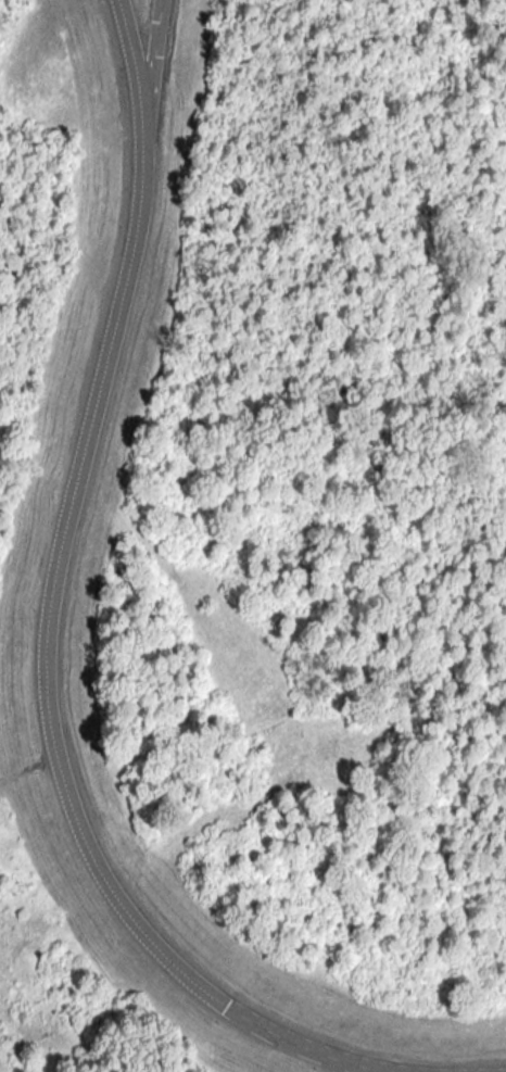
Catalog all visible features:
road: (135, 99)
road: (49, 618)
road: (27, 771)

